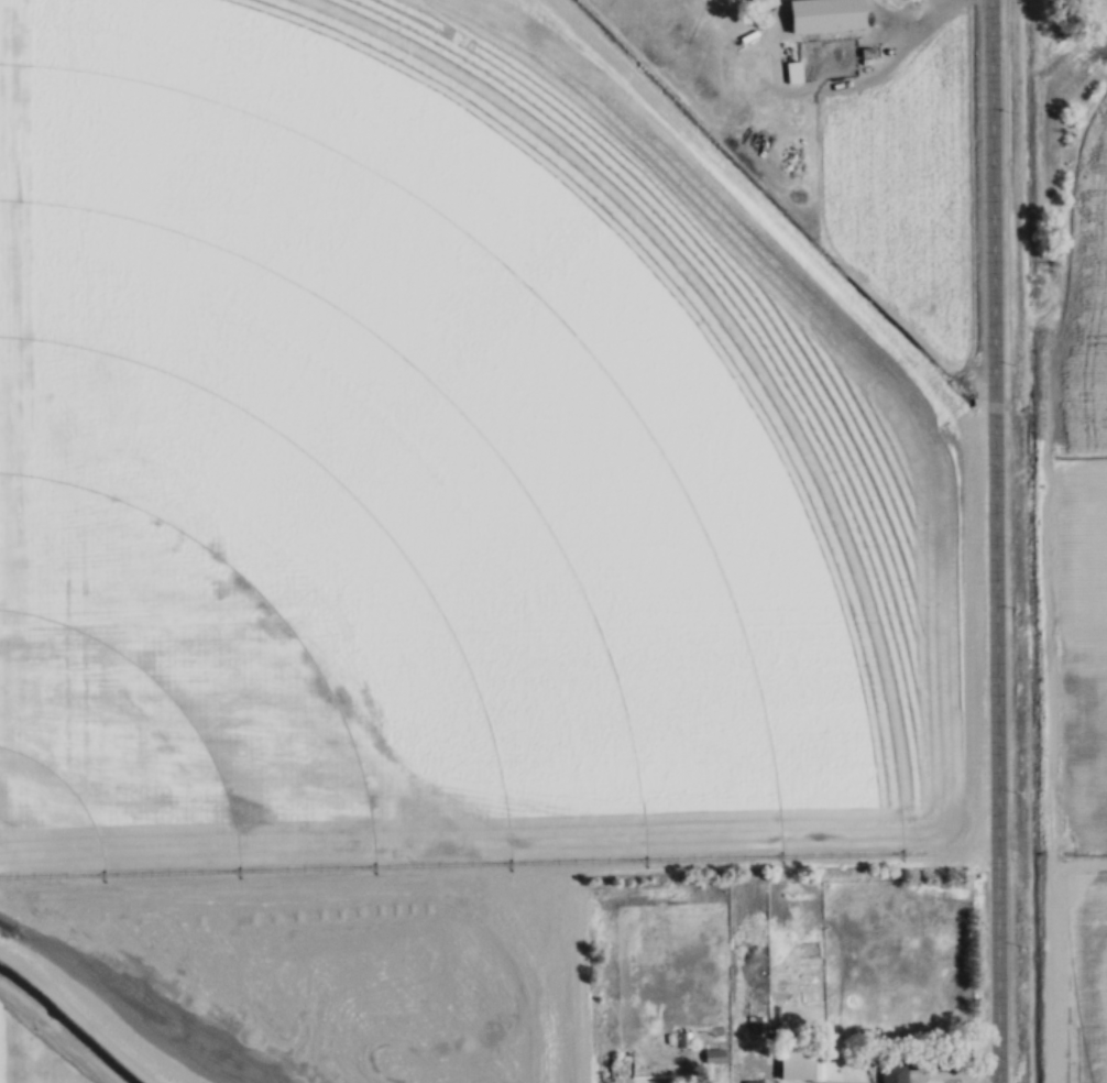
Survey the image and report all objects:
building: (763, 4)
building: (848, 4)
road: (912, 20)
building: (728, 57)
road: (998, 540)
road: (57, 1032)
building: (811, 1063)
building: (894, 1071)

